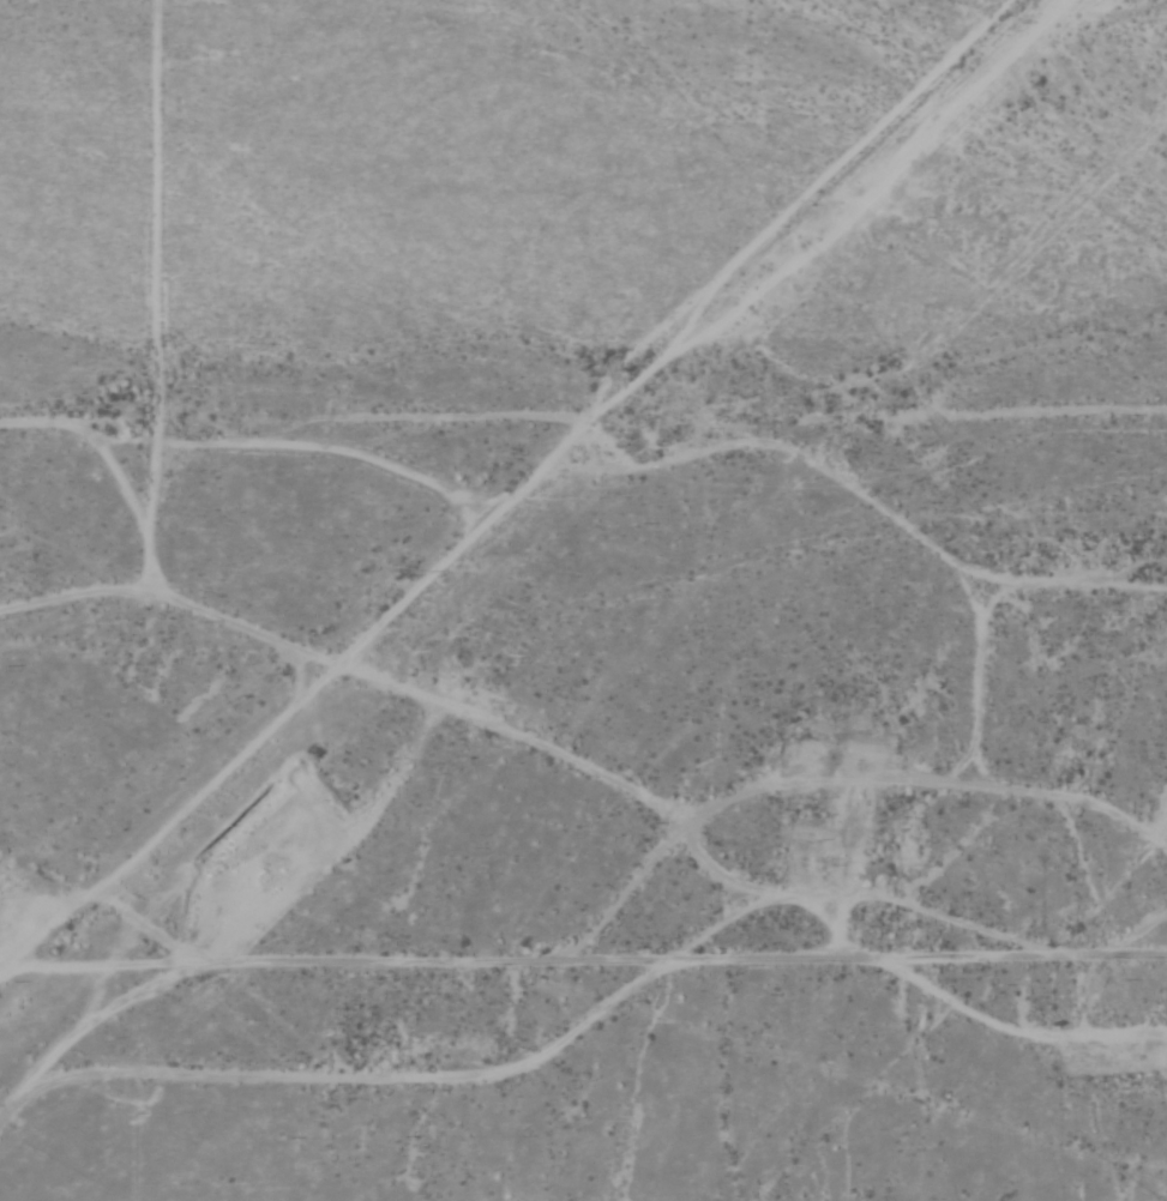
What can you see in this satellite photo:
crop: (582, 213)
road: (583, 461)
road: (512, 502)

